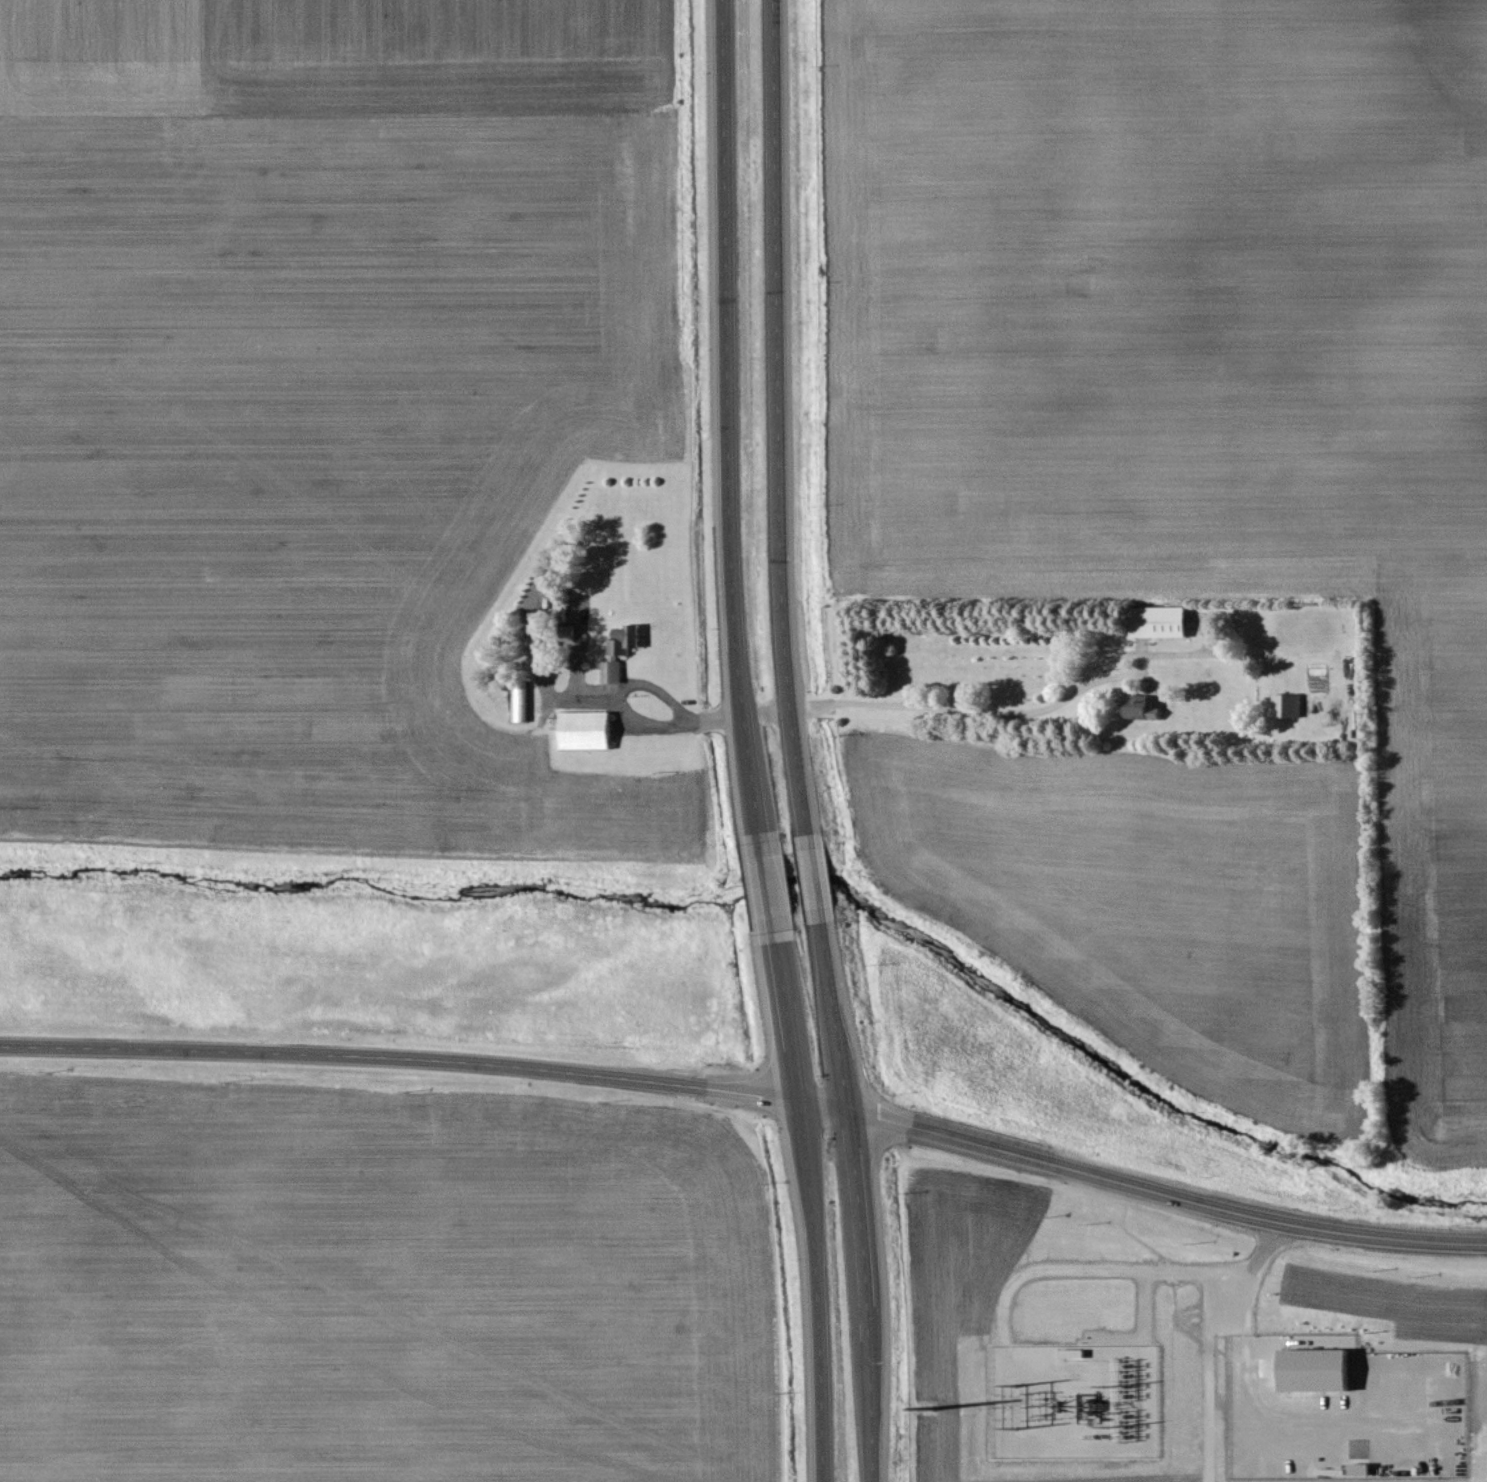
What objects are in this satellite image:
building: (1162, 623)
building: (622, 652)
road: (619, 693)
road: (906, 705)
building: (1141, 707)
building: (1289, 707)
building: (589, 731)
road: (749, 742)
road: (797, 743)
road: (750, 1097)
road: (1210, 1329)
building: (1319, 1372)
power substation: (1072, 1399)
power tower: (930, 1406)

